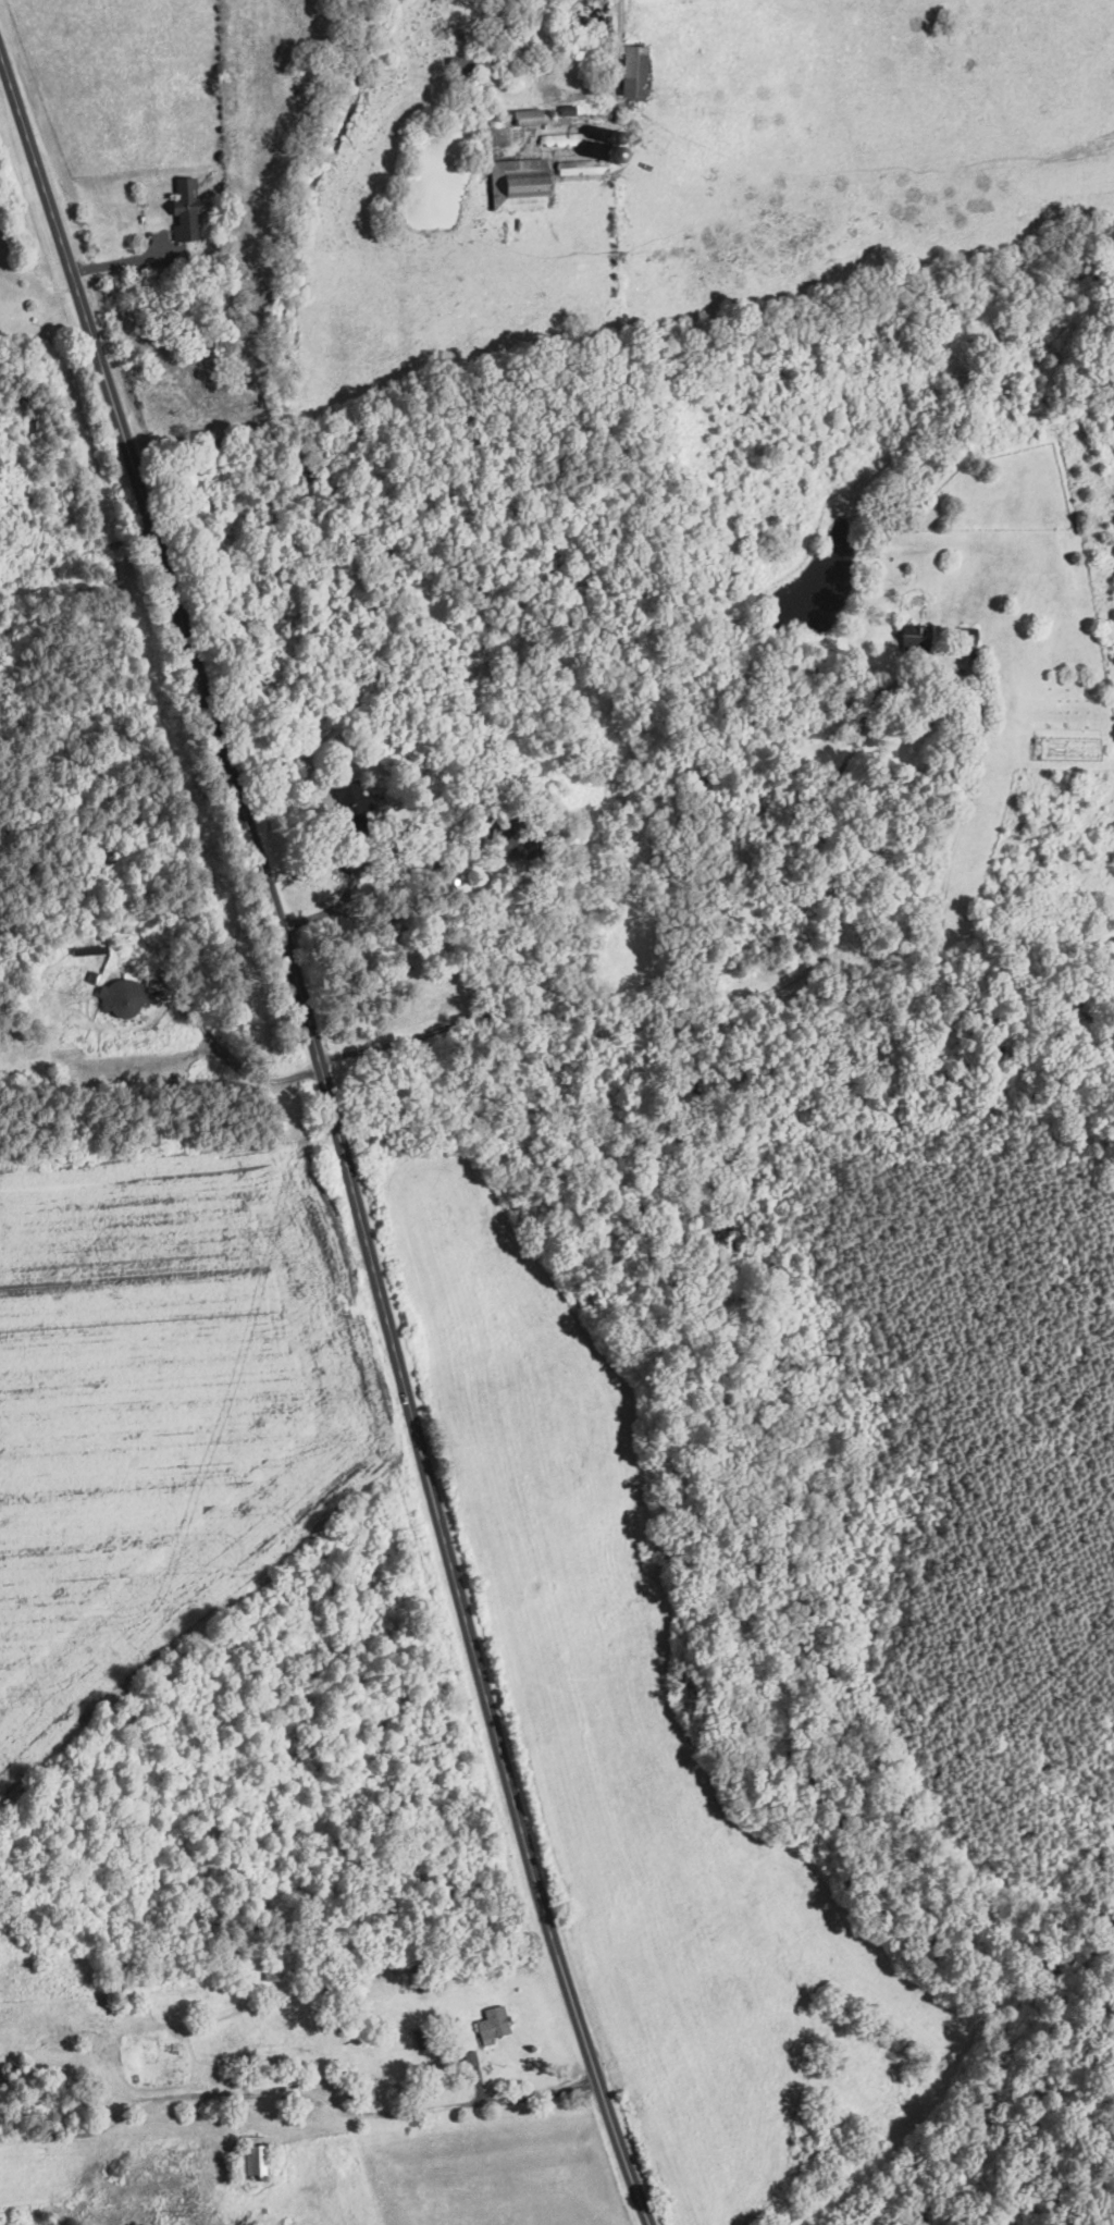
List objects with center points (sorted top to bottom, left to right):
building: (465, 62)
building: (631, 70)
building: (523, 115)
building: (559, 139)
building: (579, 165)
building: (515, 183)
building: (181, 206)
road: (136, 261)
road: (72, 563)
building: (965, 635)
building: (912, 637)
road: (832, 794)
building: (350, 797)
building: (121, 997)
road: (333, 1136)
building: (491, 2024)
building: (470, 2057)
road: (297, 2097)
building: (247, 2159)

